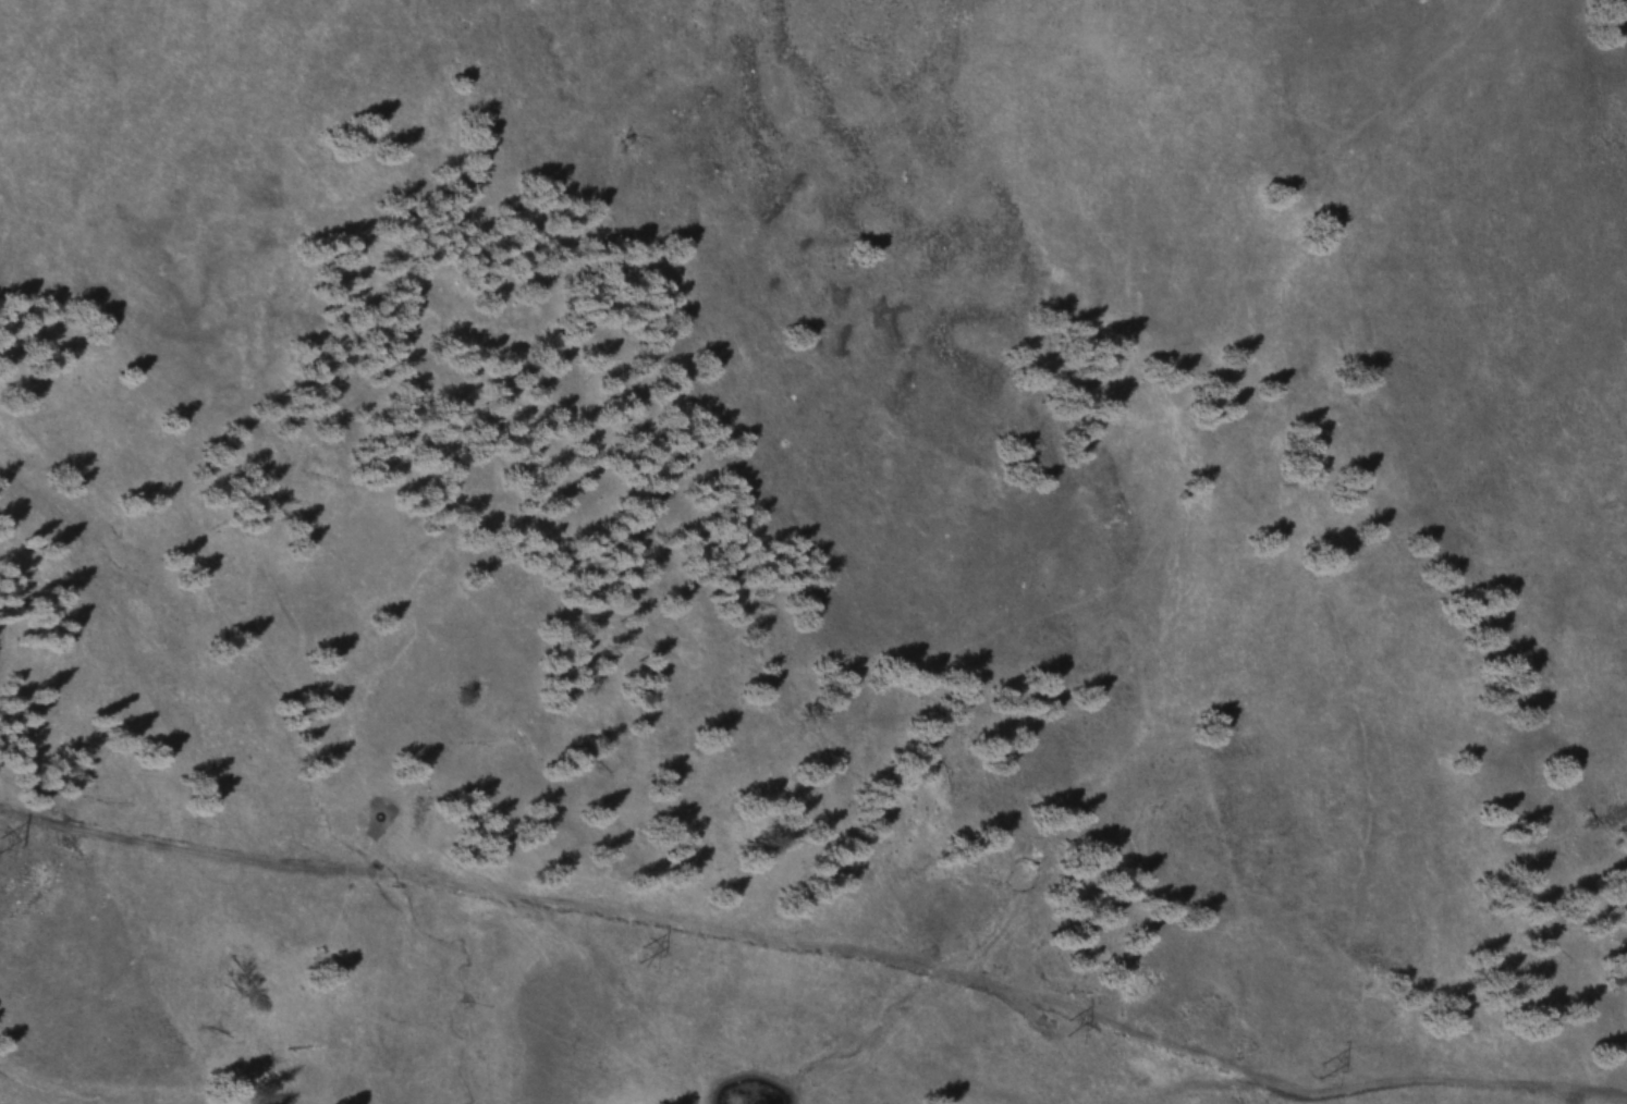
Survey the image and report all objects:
power tower: (631, 953)
power tower: (1079, 1021)
power tower: (1330, 1065)

